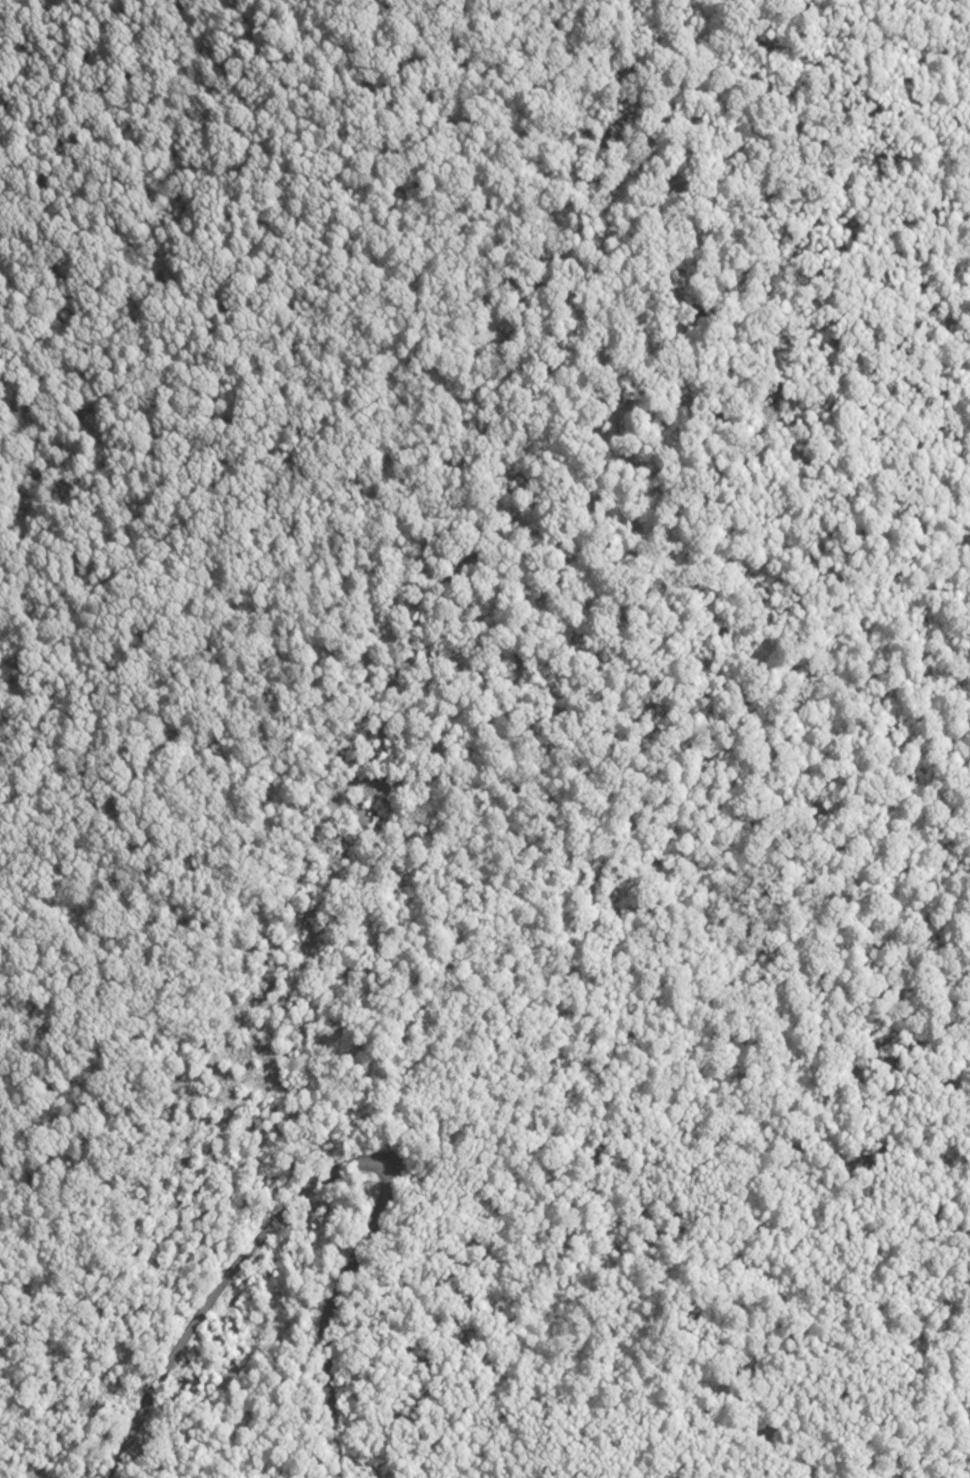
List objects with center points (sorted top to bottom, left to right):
road: (262, 360)
road: (332, 1180)

